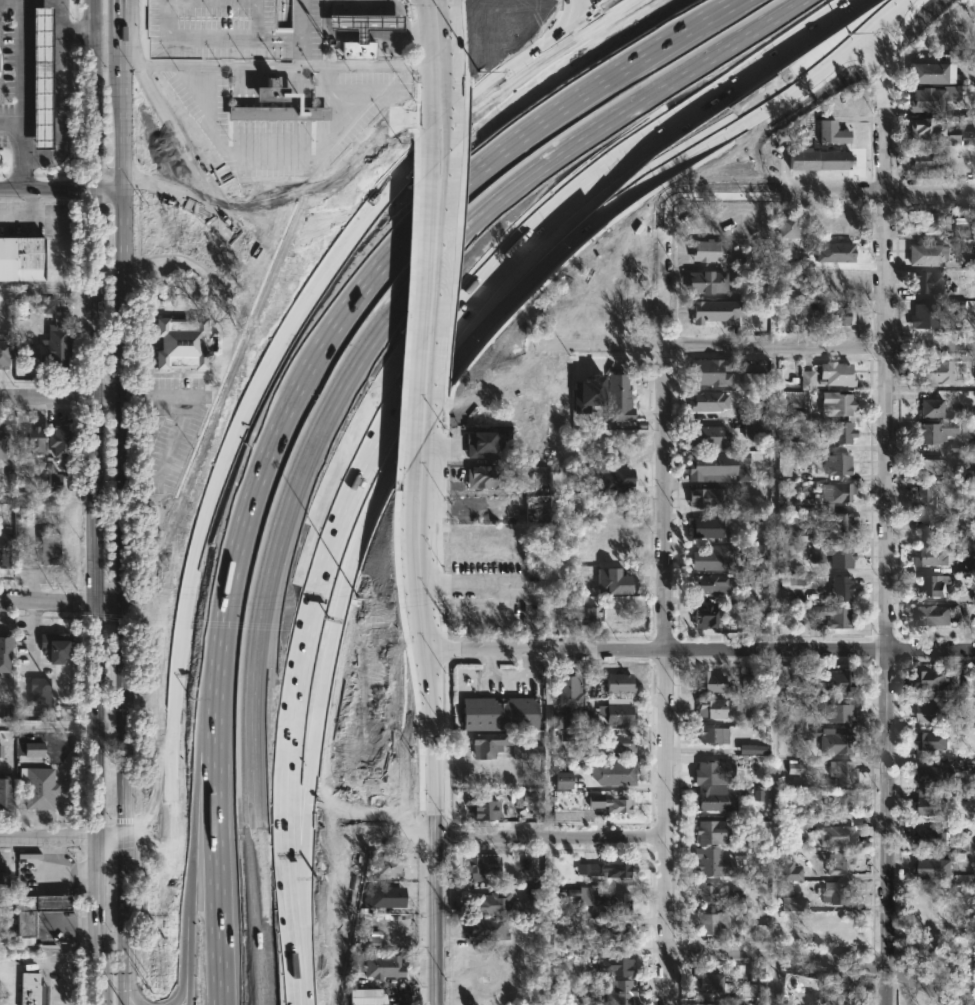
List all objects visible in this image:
road: (379, 2)
road: (394, 6)
road: (62, 15)
road: (91, 15)
building: (363, 24)
gas station: (363, 24)
parking lot: (221, 29)
road: (77, 30)
road: (303, 32)
building: (355, 50)
road: (437, 56)
building: (971, 63)
road: (287, 64)
building: (929, 74)
building: (41, 78)
gas station: (41, 78)
road: (21, 94)
building: (933, 99)
building: (268, 100)
road: (62, 111)
road: (11, 126)
building: (926, 128)
road: (454, 131)
building: (831, 133)
building: (967, 138)
building: (819, 159)
building: (925, 161)
road: (282, 162)
road: (111, 186)
road: (48, 189)
road: (876, 194)
road: (723, 198)
road: (25, 213)
building: (926, 221)
building: (789, 227)
building: (964, 227)
building: (711, 249)
building: (838, 251)
building: (930, 254)
building: (22, 259)
road: (356, 275)
road: (432, 280)
building: (929, 280)
building: (709, 281)
road: (49, 292)
building: (47, 308)
building: (715, 312)
building: (924, 315)
building: (839, 316)
road: (287, 329)
building: (181, 342)
building: (56, 346)
building: (5, 348)
road: (748, 352)
building: (937, 370)
building: (710, 371)
building: (974, 372)
building: (828, 374)
building: (756, 381)
building: (587, 393)
road: (421, 394)
building: (618, 398)
road: (62, 399)
road: (160, 399)
building: (709, 400)
road: (323, 402)
building: (838, 403)
building: (932, 407)
road: (389, 409)
building: (968, 428)
building: (755, 429)
building: (932, 431)
road: (98, 432)
building: (839, 432)
building: (711, 437)
building: (30, 440)
building: (59, 440)
building: (485, 442)
building: (3, 444)
road: (168, 454)
building: (840, 464)
building: (714, 467)
building: (926, 467)
building: (742, 474)
building: (971, 475)
building: (485, 476)
building: (614, 480)
building: (53, 482)
building: (836, 492)
building: (923, 495)
building: (708, 497)
road: (125, 502)
road: (773, 503)
road: (888, 512)
building: (751, 515)
building: (841, 523)
building: (926, 525)
building: (708, 527)
building: (972, 535)
building: (50, 548)
building: (5, 549)
building: (761, 552)
building: (791, 552)
building: (832, 554)
building: (930, 555)
building: (714, 557)
building: (970, 564)
building: (751, 580)
building: (792, 580)
building: (612, 581)
building: (710, 585)
building: (930, 585)
road: (505, 587)
building: (841, 588)
building: (973, 596)
road: (668, 601)
road: (62, 604)
building: (930, 614)
building: (706, 615)
building: (833, 615)
building: (587, 616)
building: (57, 646)
building: (6, 651)
road: (703, 655)
building: (931, 680)
building: (709, 682)
building: (619, 683)
building: (830, 683)
building: (968, 687)
building: (570, 690)
building: (40, 693)
building: (712, 708)
building: (618, 711)
building: (929, 711)
building: (500, 713)
building: (839, 713)
road: (434, 725)
building: (713, 735)
building: (930, 740)
building: (619, 742)
building: (837, 743)
building: (491, 744)
building: (753, 749)
building: (34, 750)
building: (0, 751)
building: (527, 752)
building: (969, 765)
building: (794, 768)
building: (713, 772)
building: (843, 772)
building: (616, 773)
building: (931, 775)
building: (563, 780)
building: (39, 787)
building: (5, 793)
building: (758, 795)
building: (528, 796)
building: (715, 798)
building: (931, 802)
building: (610, 803)
building: (842, 803)
building: (486, 808)
road: (774, 808)
building: (714, 832)
building: (838, 835)
road: (47, 836)
traffic signals: (96, 836)
road: (108, 836)
traffic signals: (120, 836)
road: (550, 838)
building: (932, 838)
road: (184, 839)
building: (841, 863)
building: (713, 864)
building: (937, 864)
road: (51, 865)
building: (389, 865)
building: (482, 866)
building: (606, 869)
building: (790, 872)
road: (74, 875)
building: (4, 883)
building: (714, 893)
building: (843, 893)
building: (384, 897)
building: (604, 900)
building: (788, 903)
road: (52, 904)
building: (491, 904)
building: (36, 910)
building: (959, 918)
road: (96, 920)
road: (546, 921)
building: (711, 923)
building: (561, 926)
building: (362, 928)
building: (487, 929)
road: (64, 931)
building: (842, 933)
building: (613, 934)
building: (365, 943)
road: (47, 949)
building: (615, 961)
road: (824, 965)
building: (383, 967)
road: (64, 968)
building: (709, 982)
road: (769, 983)
road: (80, 987)
building: (31, 990)
building: (748, 990)
building: (621, 992)
building: (365, 997)
building: (703, 1004)

